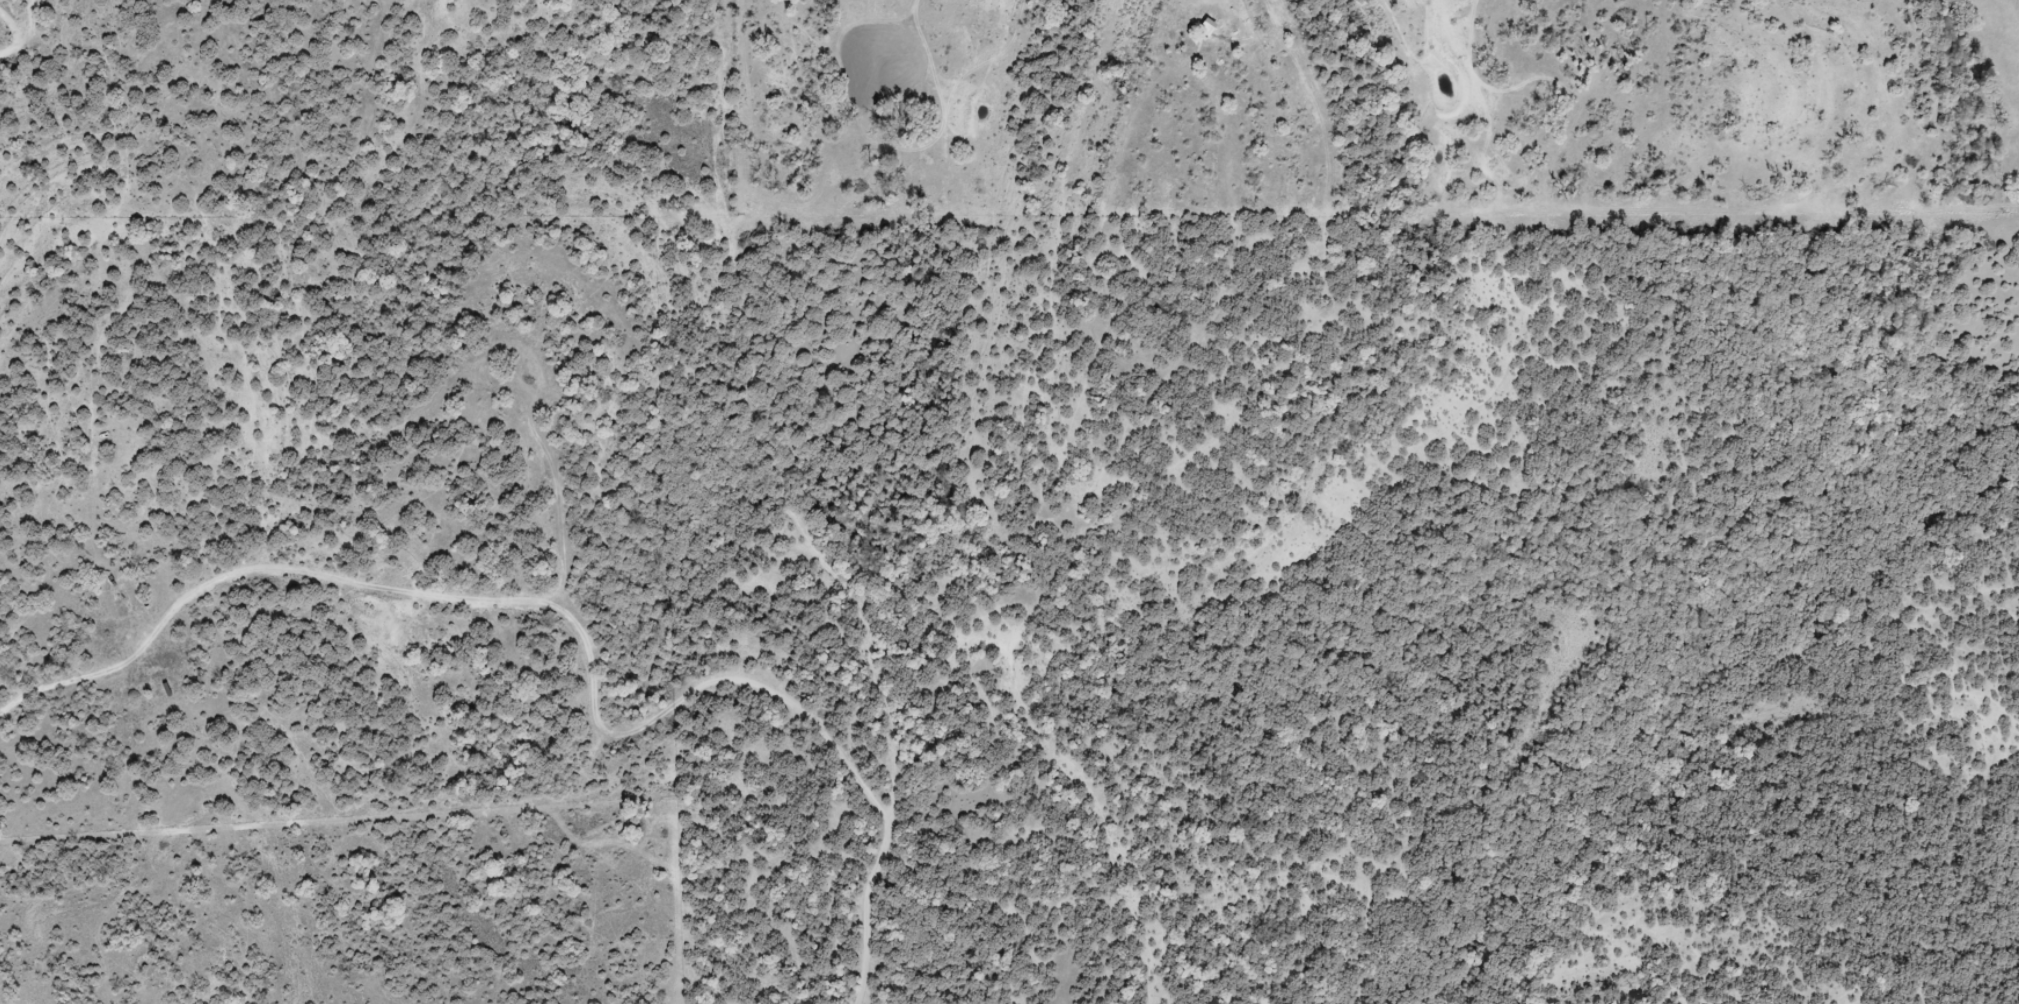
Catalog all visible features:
road: (540, 356)
road: (341, 553)
road: (471, 744)
road: (862, 788)
road: (740, 822)

